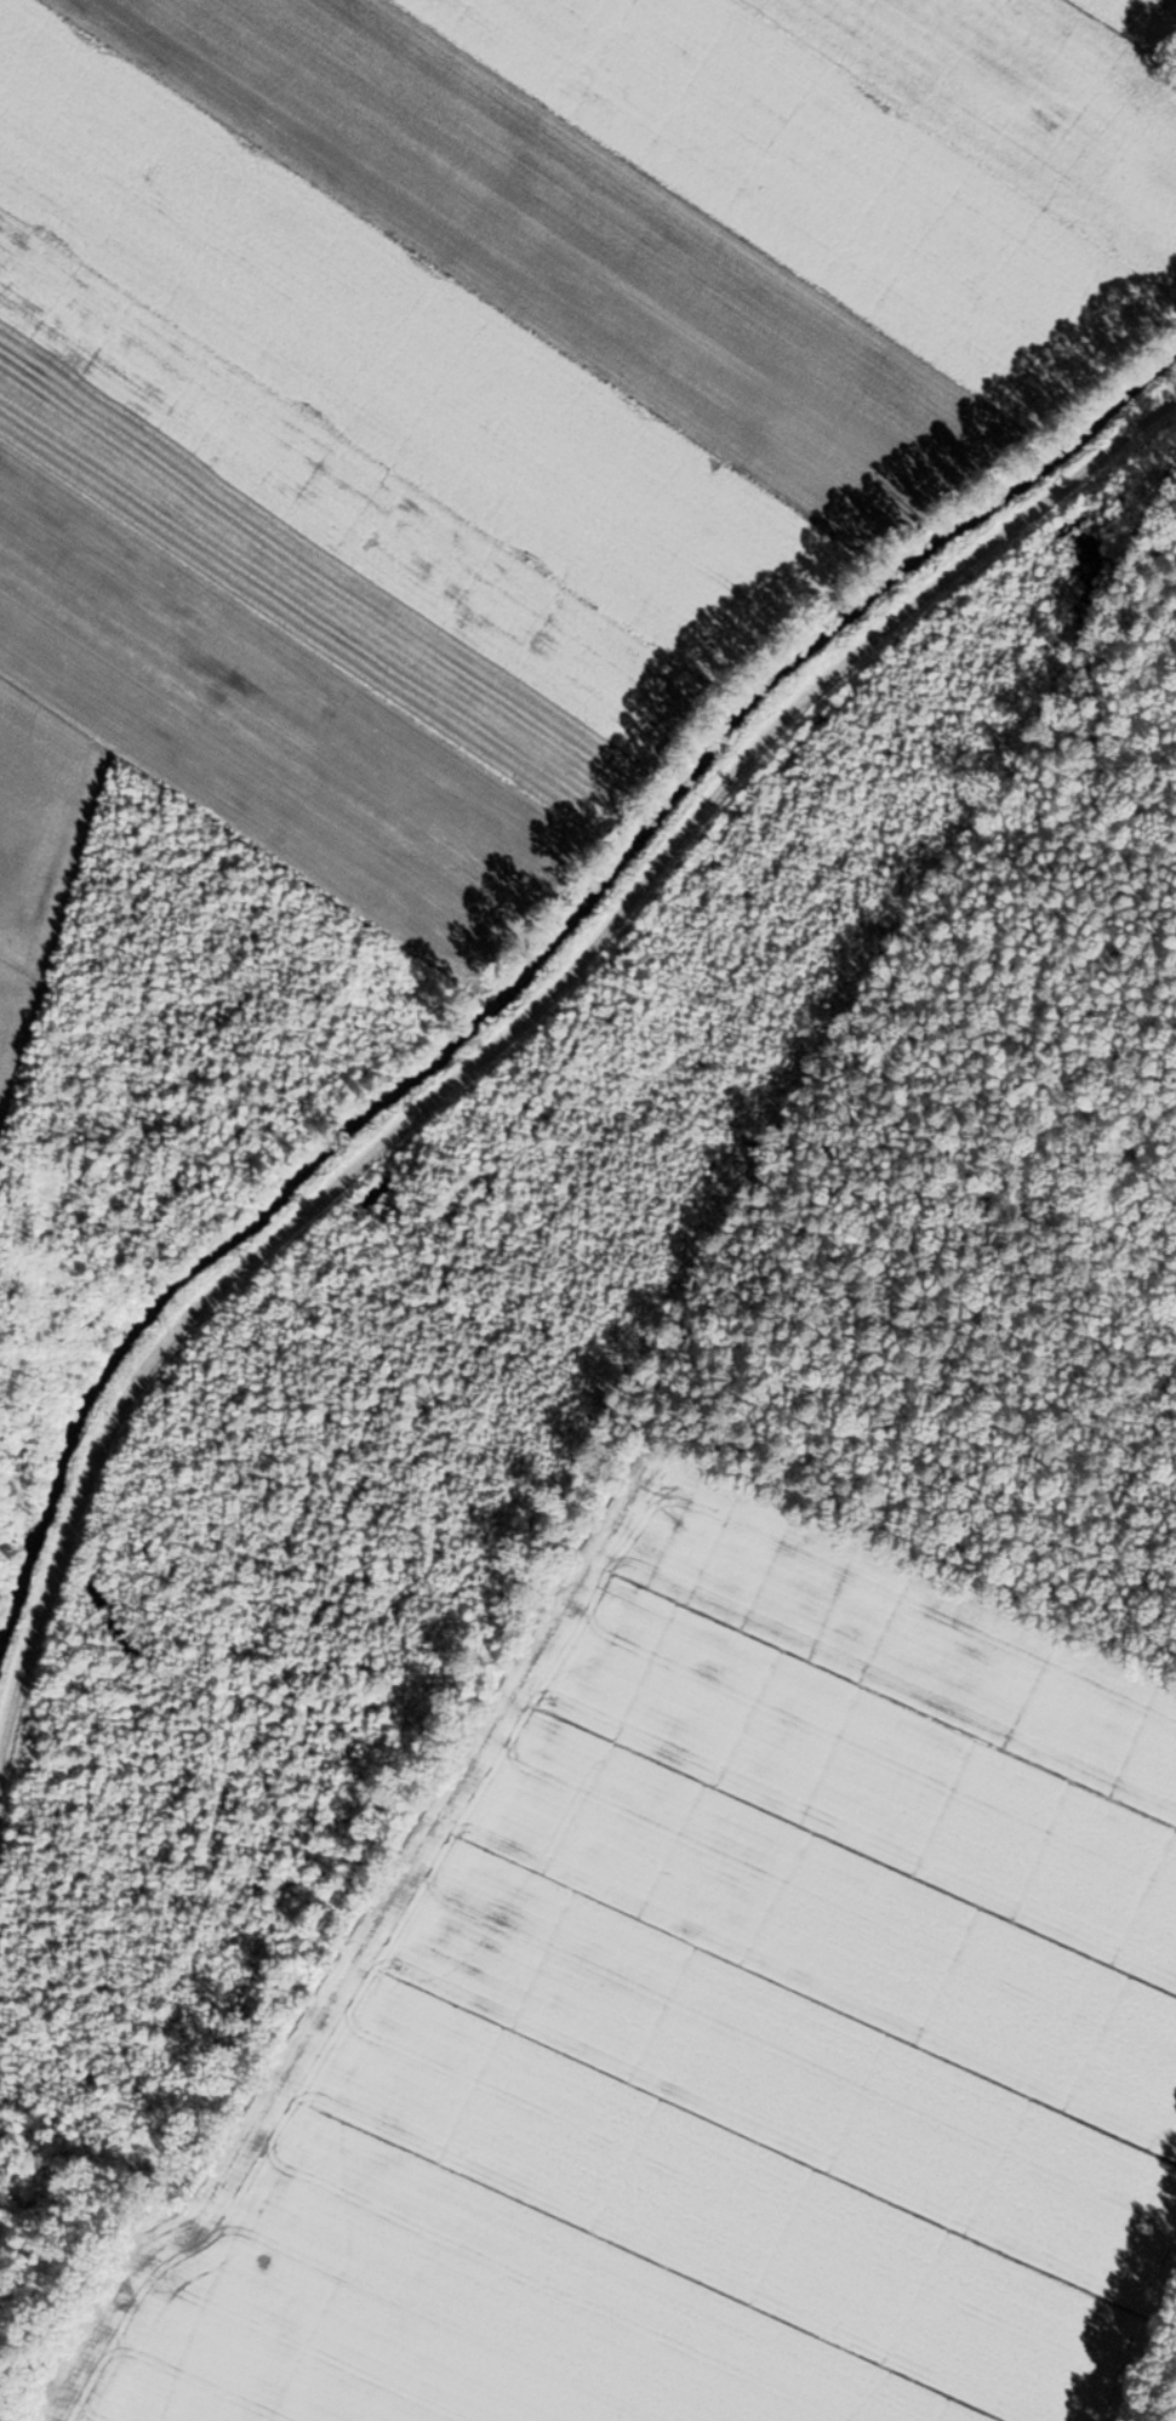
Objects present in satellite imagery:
road: (518, 1023)

